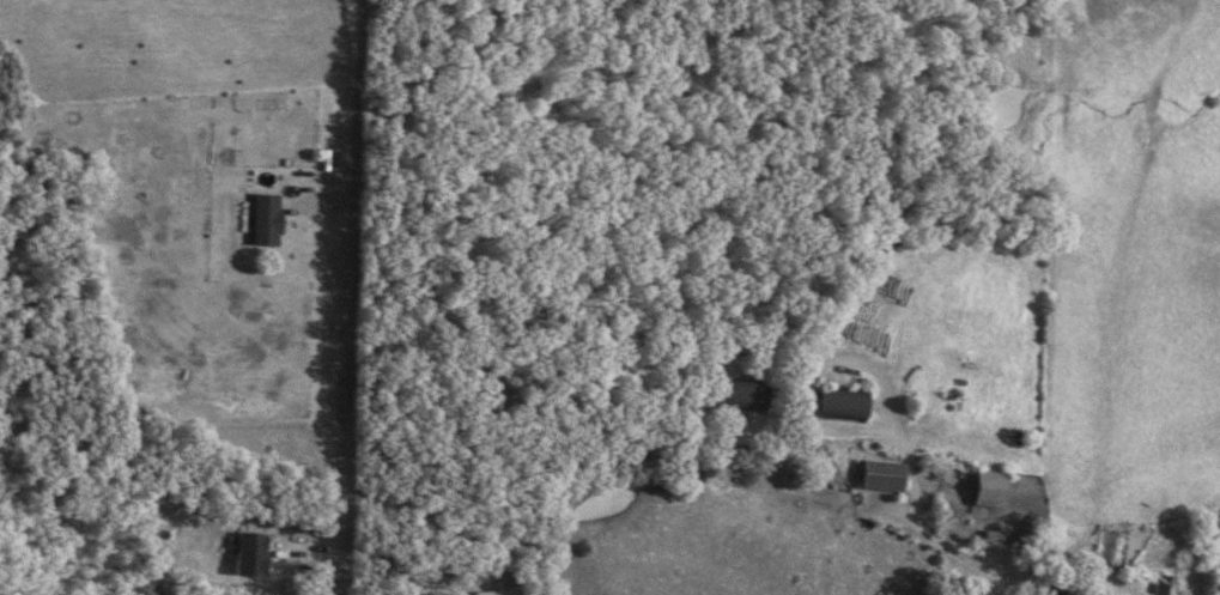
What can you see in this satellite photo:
building: (265, 219)
road: (354, 297)
building: (740, 395)
building: (838, 403)
building: (876, 474)
building: (982, 486)
road: (929, 535)
building: (987, 540)
building: (245, 553)
building: (1160, 584)
building: (971, 590)
building: (1061, 590)
building: (485, 593)

